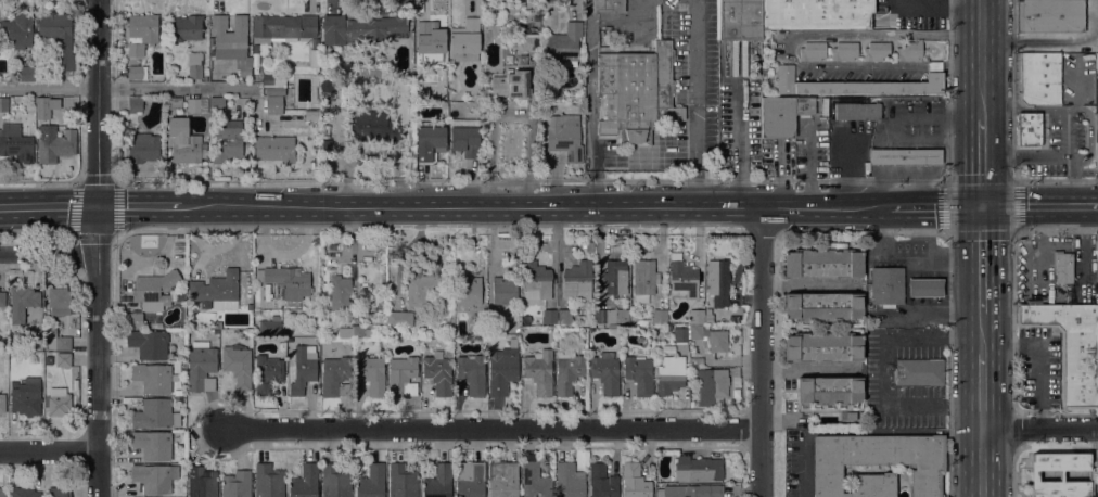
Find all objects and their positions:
building: (880, 4)
building: (608, 7)
road: (936, 8)
building: (488, 11)
building: (816, 14)
building: (1048, 15)
building: (739, 20)
building: (187, 28)
building: (282, 28)
building: (143, 29)
building: (362, 29)
building: (16, 31)
building: (230, 36)
building: (59, 37)
building: (429, 40)
building: (465, 40)
building: (531, 42)
building: (315, 43)
road: (1040, 43)
building: (563, 47)
road: (790, 49)
building: (813, 51)
building: (844, 51)
building: (877, 51)
building: (909, 51)
building: (314, 58)
building: (523, 61)
road: (984, 61)
building: (1097, 61)
building: (195, 65)
building: (753, 69)
building: (137, 73)
building: (27, 74)
building: (1038, 77)
road: (592, 78)
building: (268, 80)
road: (1073, 80)
building: (859, 84)
building: (511, 85)
road: (125, 87)
building: (637, 92)
building: (451, 97)
road: (695, 102)
building: (174, 103)
building: (3, 104)
road: (100, 104)
building: (135, 104)
building: (217, 104)
building: (273, 104)
building: (196, 105)
building: (804, 106)
building: (42, 107)
road: (1062, 107)
building: (857, 111)
building: (778, 118)
building: (1096, 119)
building: (1070, 125)
building: (373, 127)
building: (1029, 131)
road: (1065, 131)
road: (738, 132)
building: (563, 136)
building: (465, 137)
building: (227, 141)
building: (184, 142)
building: (431, 142)
building: (15, 143)
building: (55, 143)
building: (142, 148)
building: (274, 149)
road: (1032, 155)
building: (906, 156)
building: (1097, 156)
road: (983, 163)
road: (935, 205)
traffic signals: (983, 205)
road: (1040, 205)
road: (526, 206)
road: (132, 207)
road: (51, 208)
traffic signals: (100, 208)
road: (1, 209)
road: (49, 251)
road: (906, 251)
road: (954, 256)
road: (983, 259)
building: (823, 263)
building: (1062, 267)
building: (616, 277)
building: (644, 279)
building: (536, 280)
building: (578, 280)
building: (684, 280)
building: (718, 281)
building: (290, 284)
building: (888, 285)
road: (945, 285)
building: (923, 288)
gas station: (925, 288)
building: (422, 289)
building: (505, 289)
building: (154, 290)
building: (217, 290)
building: (469, 290)
building: (340, 292)
building: (2, 298)
building: (59, 301)
building: (21, 304)
building: (250, 306)
building: (823, 306)
road: (930, 315)
building: (549, 316)
building: (564, 316)
building: (660, 316)
building: (695, 316)
building: (611, 317)
building: (399, 319)
building: (132, 320)
building: (710, 320)
building: (270, 326)
building: (215, 331)
building: (374, 331)
building: (697, 331)
building: (352, 332)
building: (225, 333)
road: (982, 333)
building: (679, 334)
building: (718, 341)
building: (58, 343)
building: (149, 343)
building: (822, 346)
building: (1069, 347)
road: (762, 351)
road: (98, 352)
building: (63, 359)
building: (48, 360)
building: (238, 365)
building: (201, 367)
road: (803, 368)
building: (502, 369)
building: (303, 370)
building: (539, 371)
building: (569, 371)
building: (371, 372)
building: (438, 372)
building: (605, 372)
building: (919, 372)
building: (267, 373)
building: (472, 373)
building: (669, 373)
building: (639, 374)
building: (152, 377)
building: (335, 377)
building: (403, 377)
building: (711, 385)
building: (829, 390)
road: (982, 391)
building: (178, 395)
building: (26, 396)
building: (58, 402)
building: (2, 403)
building: (155, 413)
building: (851, 415)
road: (494, 429)
road: (1039, 429)
building: (153, 444)
road: (48, 450)
road: (982, 462)
building: (878, 463)
building: (697, 469)
building: (1060, 475)
building: (155, 477)
building: (503, 479)
building: (470, 480)
building: (268, 481)
building: (335, 481)
building: (371, 481)
building: (401, 481)
building: (535, 481)
building: (569, 481)
building: (635, 481)
building: (201, 482)
building: (305, 482)
building: (438, 482)
building: (602, 482)
building: (237, 484)
building: (690, 490)
building: (59, 492)
building: (2, 493)
building: (24, 493)

